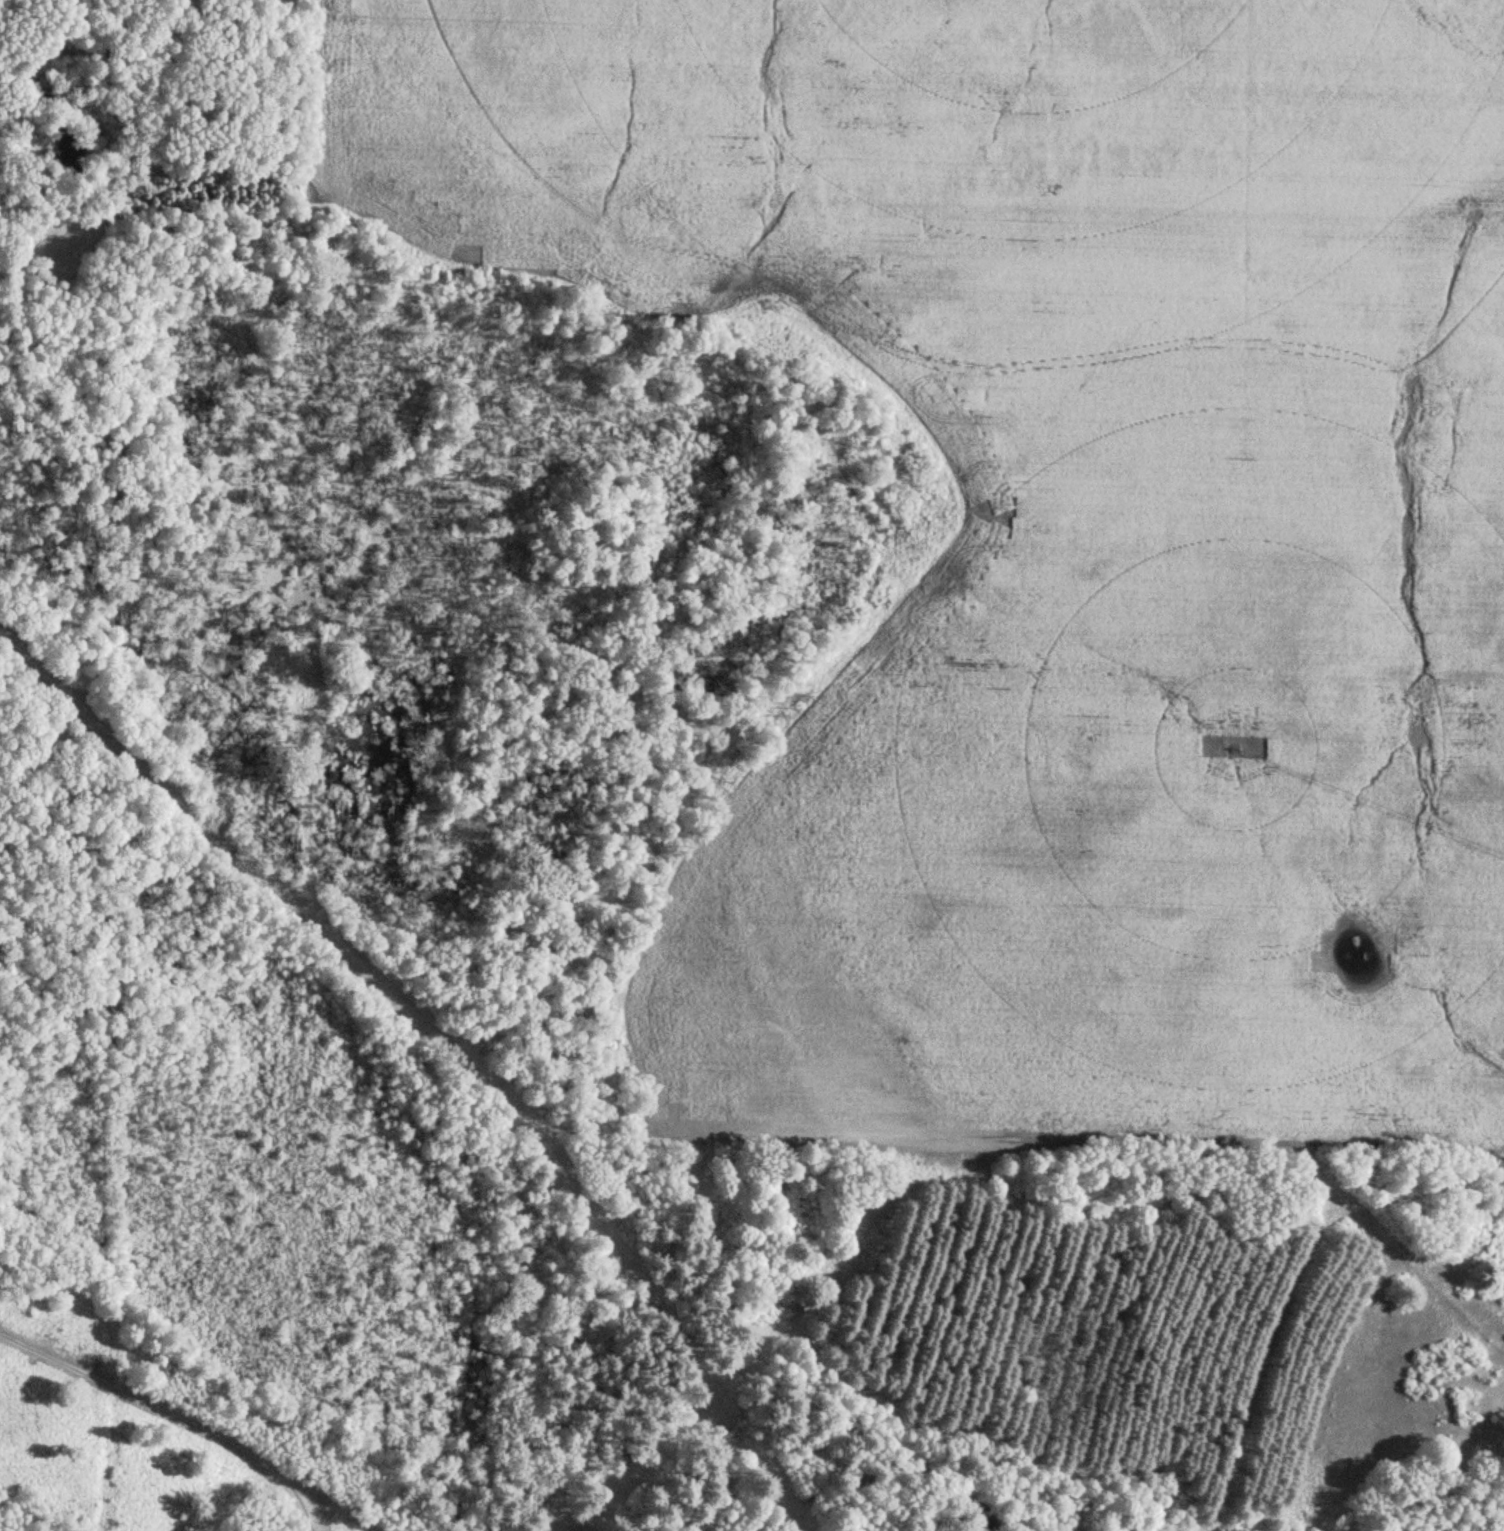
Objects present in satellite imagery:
road: (753, 690)
road: (173, 1411)

